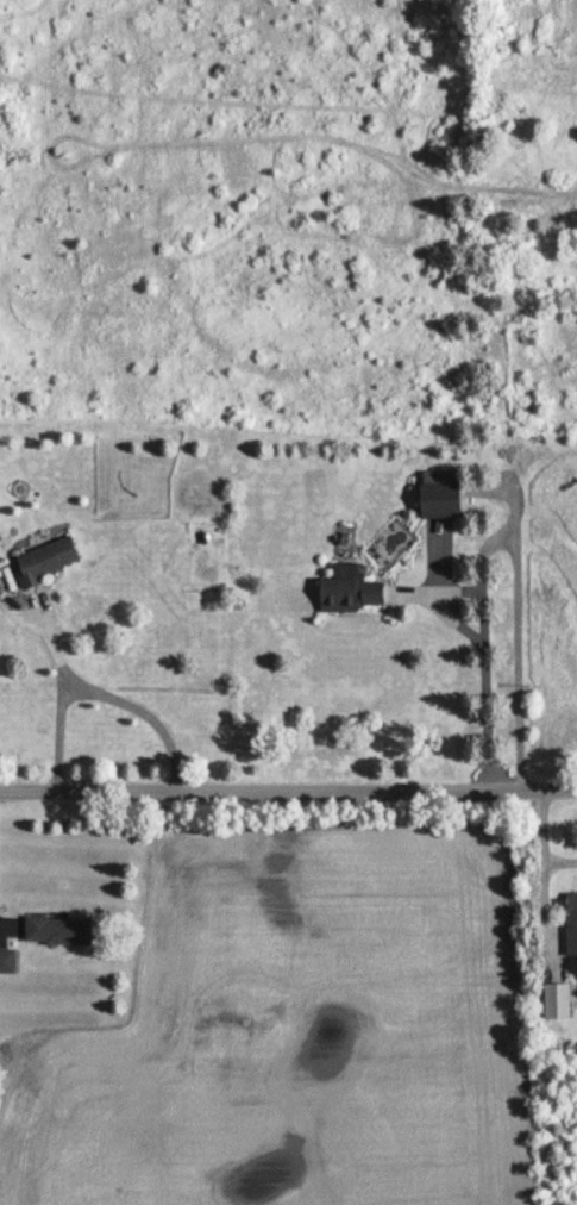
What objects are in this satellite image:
building: (441, 494)
building: (46, 560)
building: (352, 589)
road: (484, 694)
road: (127, 699)
road: (288, 787)
road: (559, 867)
road: (540, 872)
building: (571, 923)
building: (58, 930)
building: (7, 960)
building: (559, 1001)

